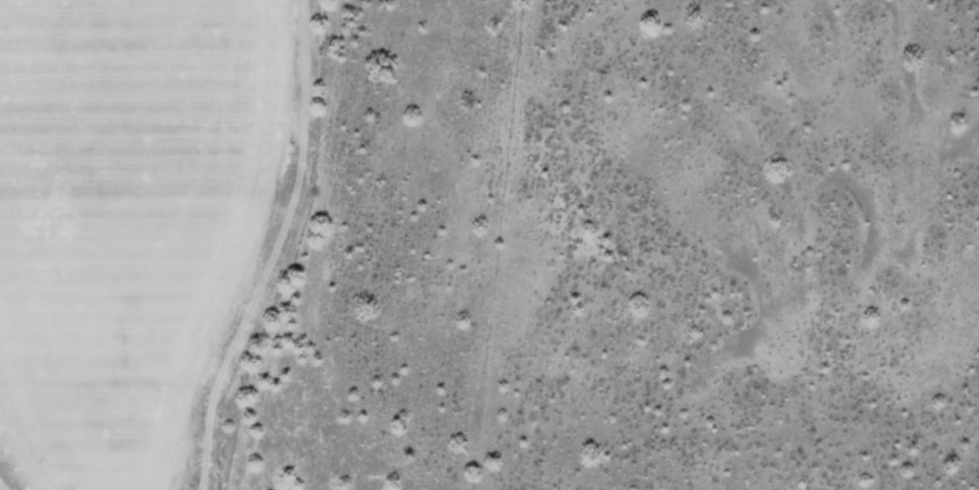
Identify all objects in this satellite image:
crop: (132, 221)

